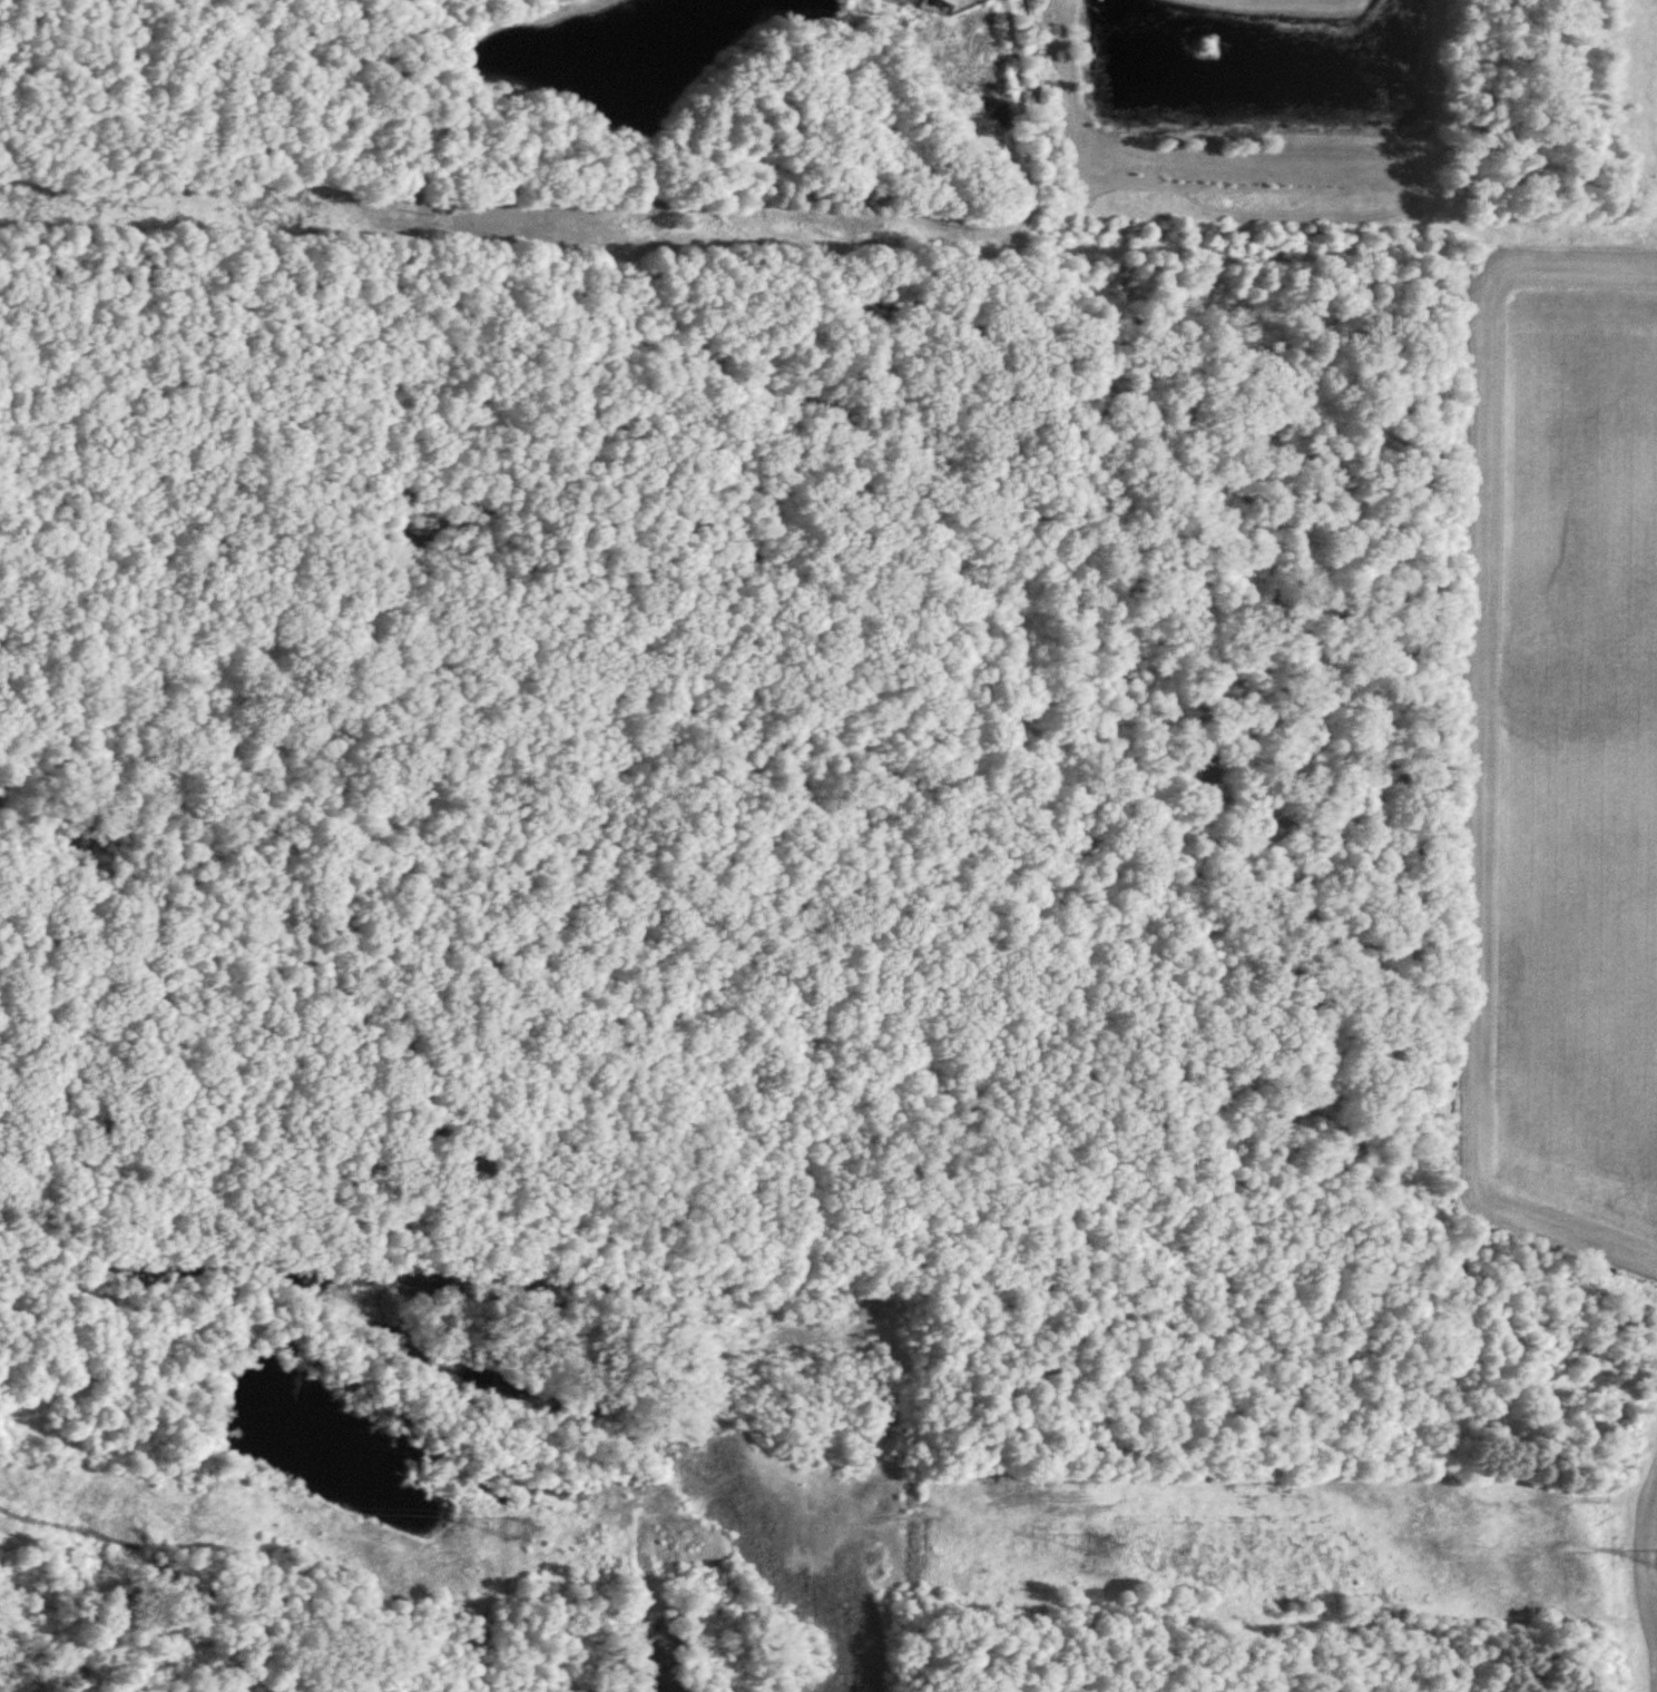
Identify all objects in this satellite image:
road: (1256, 220)
road: (1473, 230)
crop: (1582, 758)
road: (1482, 803)
road: (102, 1469)
road: (1646, 1489)
power tower: (517, 1532)
power tower: (1099, 1547)

